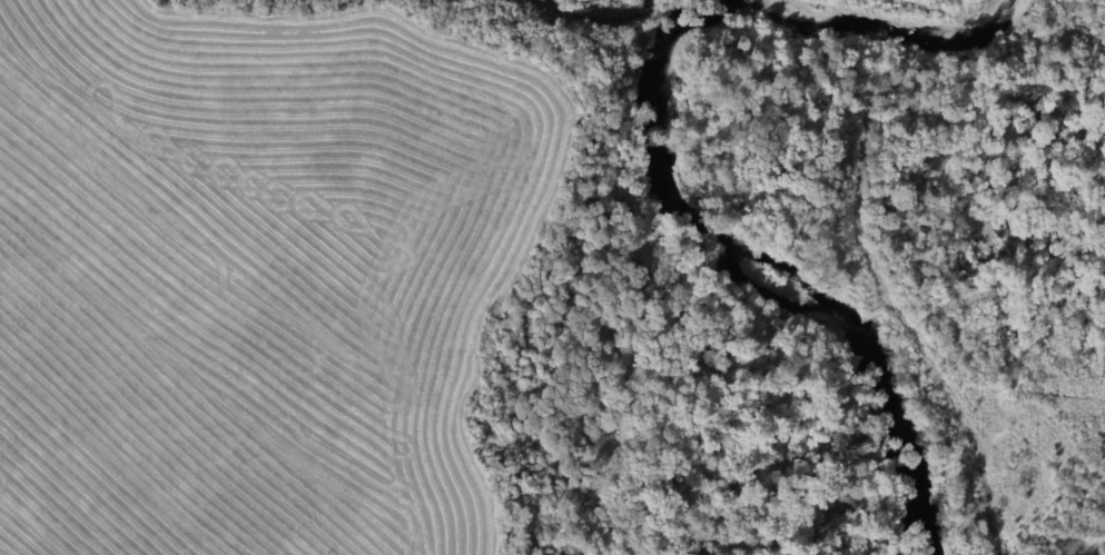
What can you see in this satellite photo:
river: (673, 201)
airport: (552, 277)

